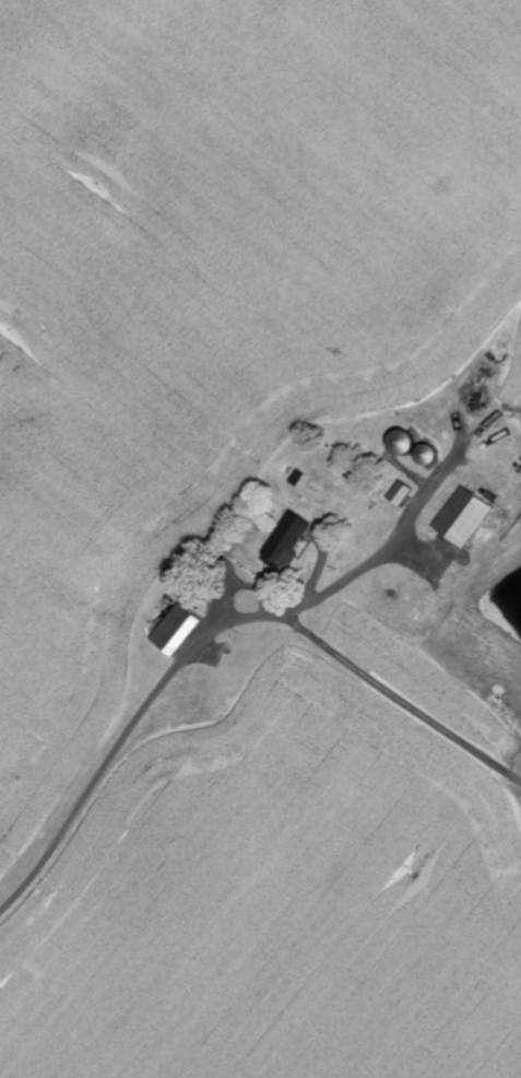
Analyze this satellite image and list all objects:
building: (400, 494)
building: (462, 517)
building: (286, 542)
building: (174, 630)
road: (63, 746)

